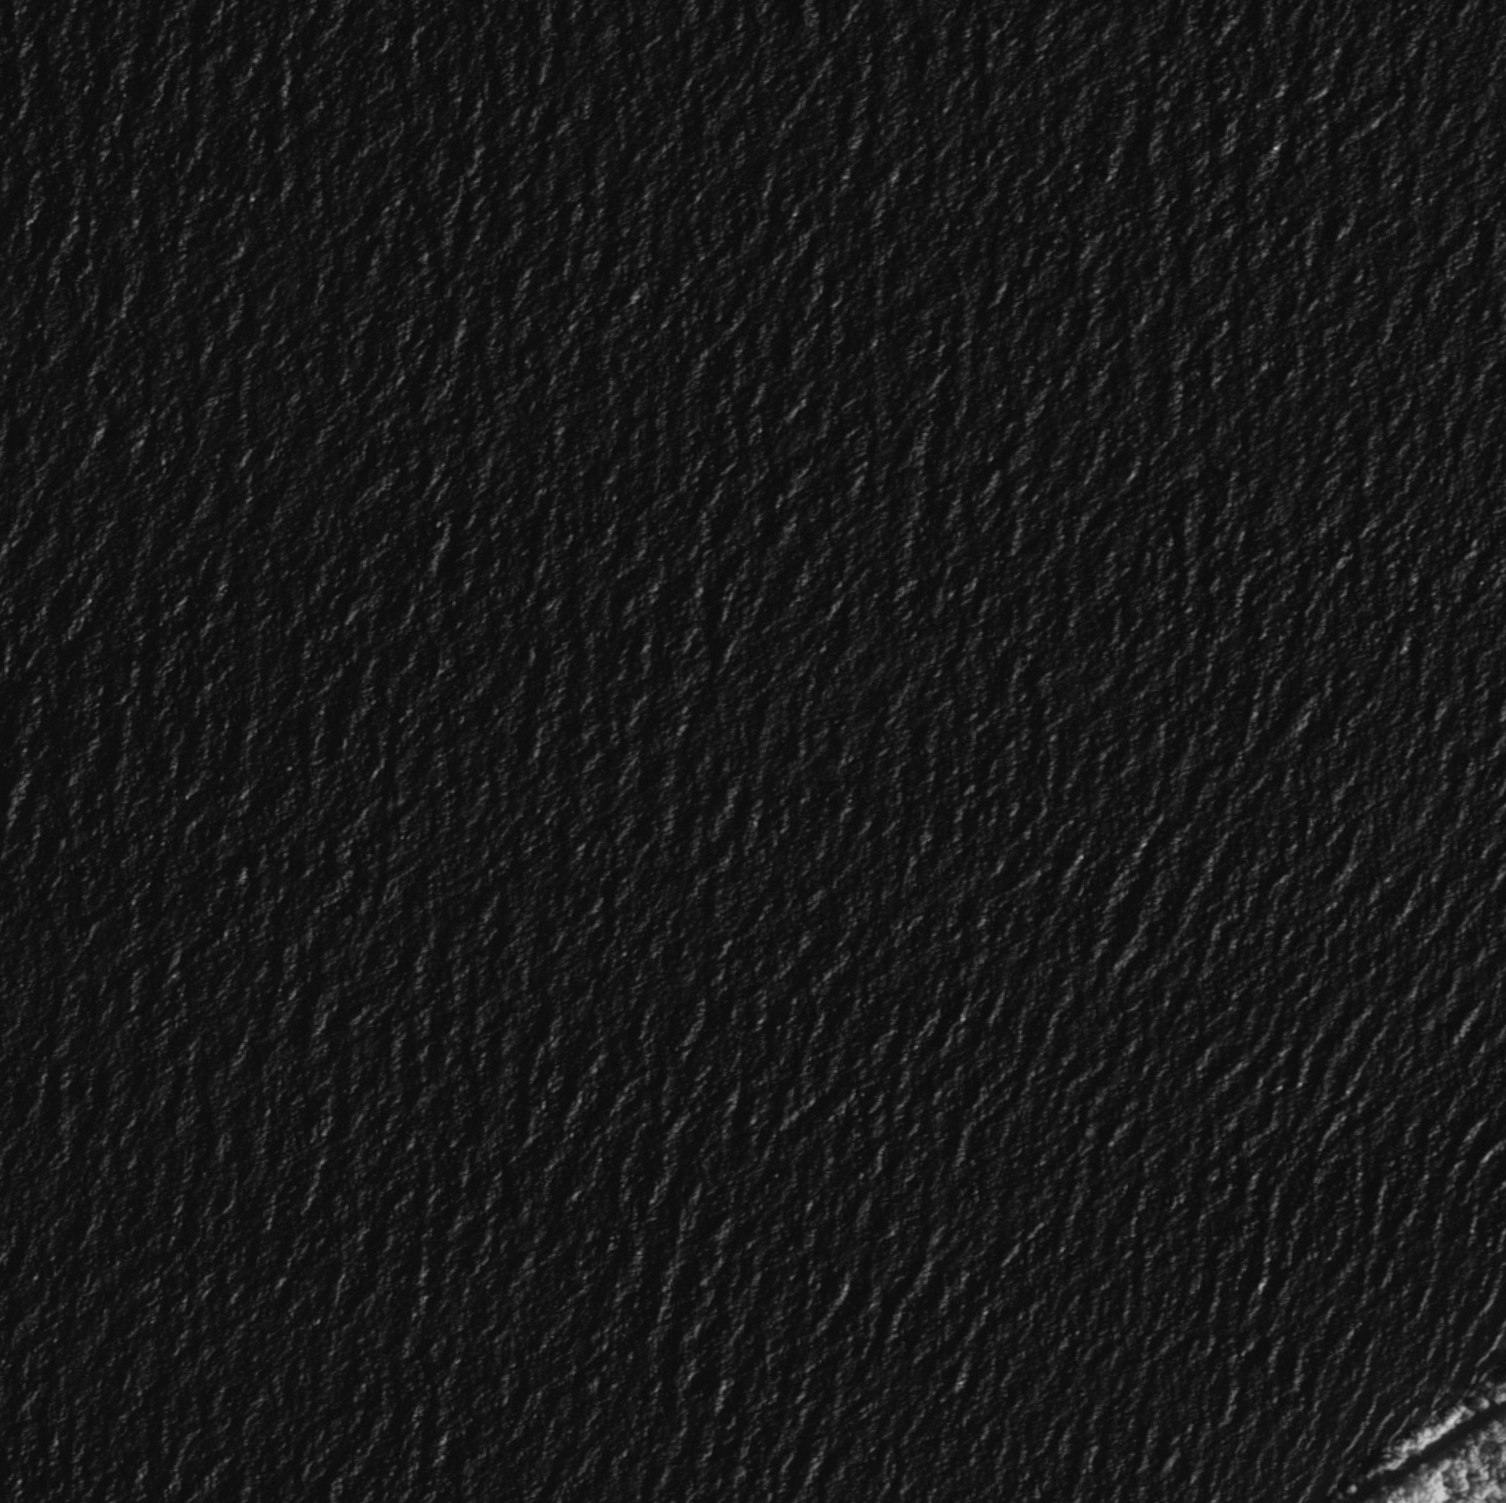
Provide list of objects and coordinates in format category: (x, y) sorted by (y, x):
park: (1414, 1375)
road: (1427, 1450)

